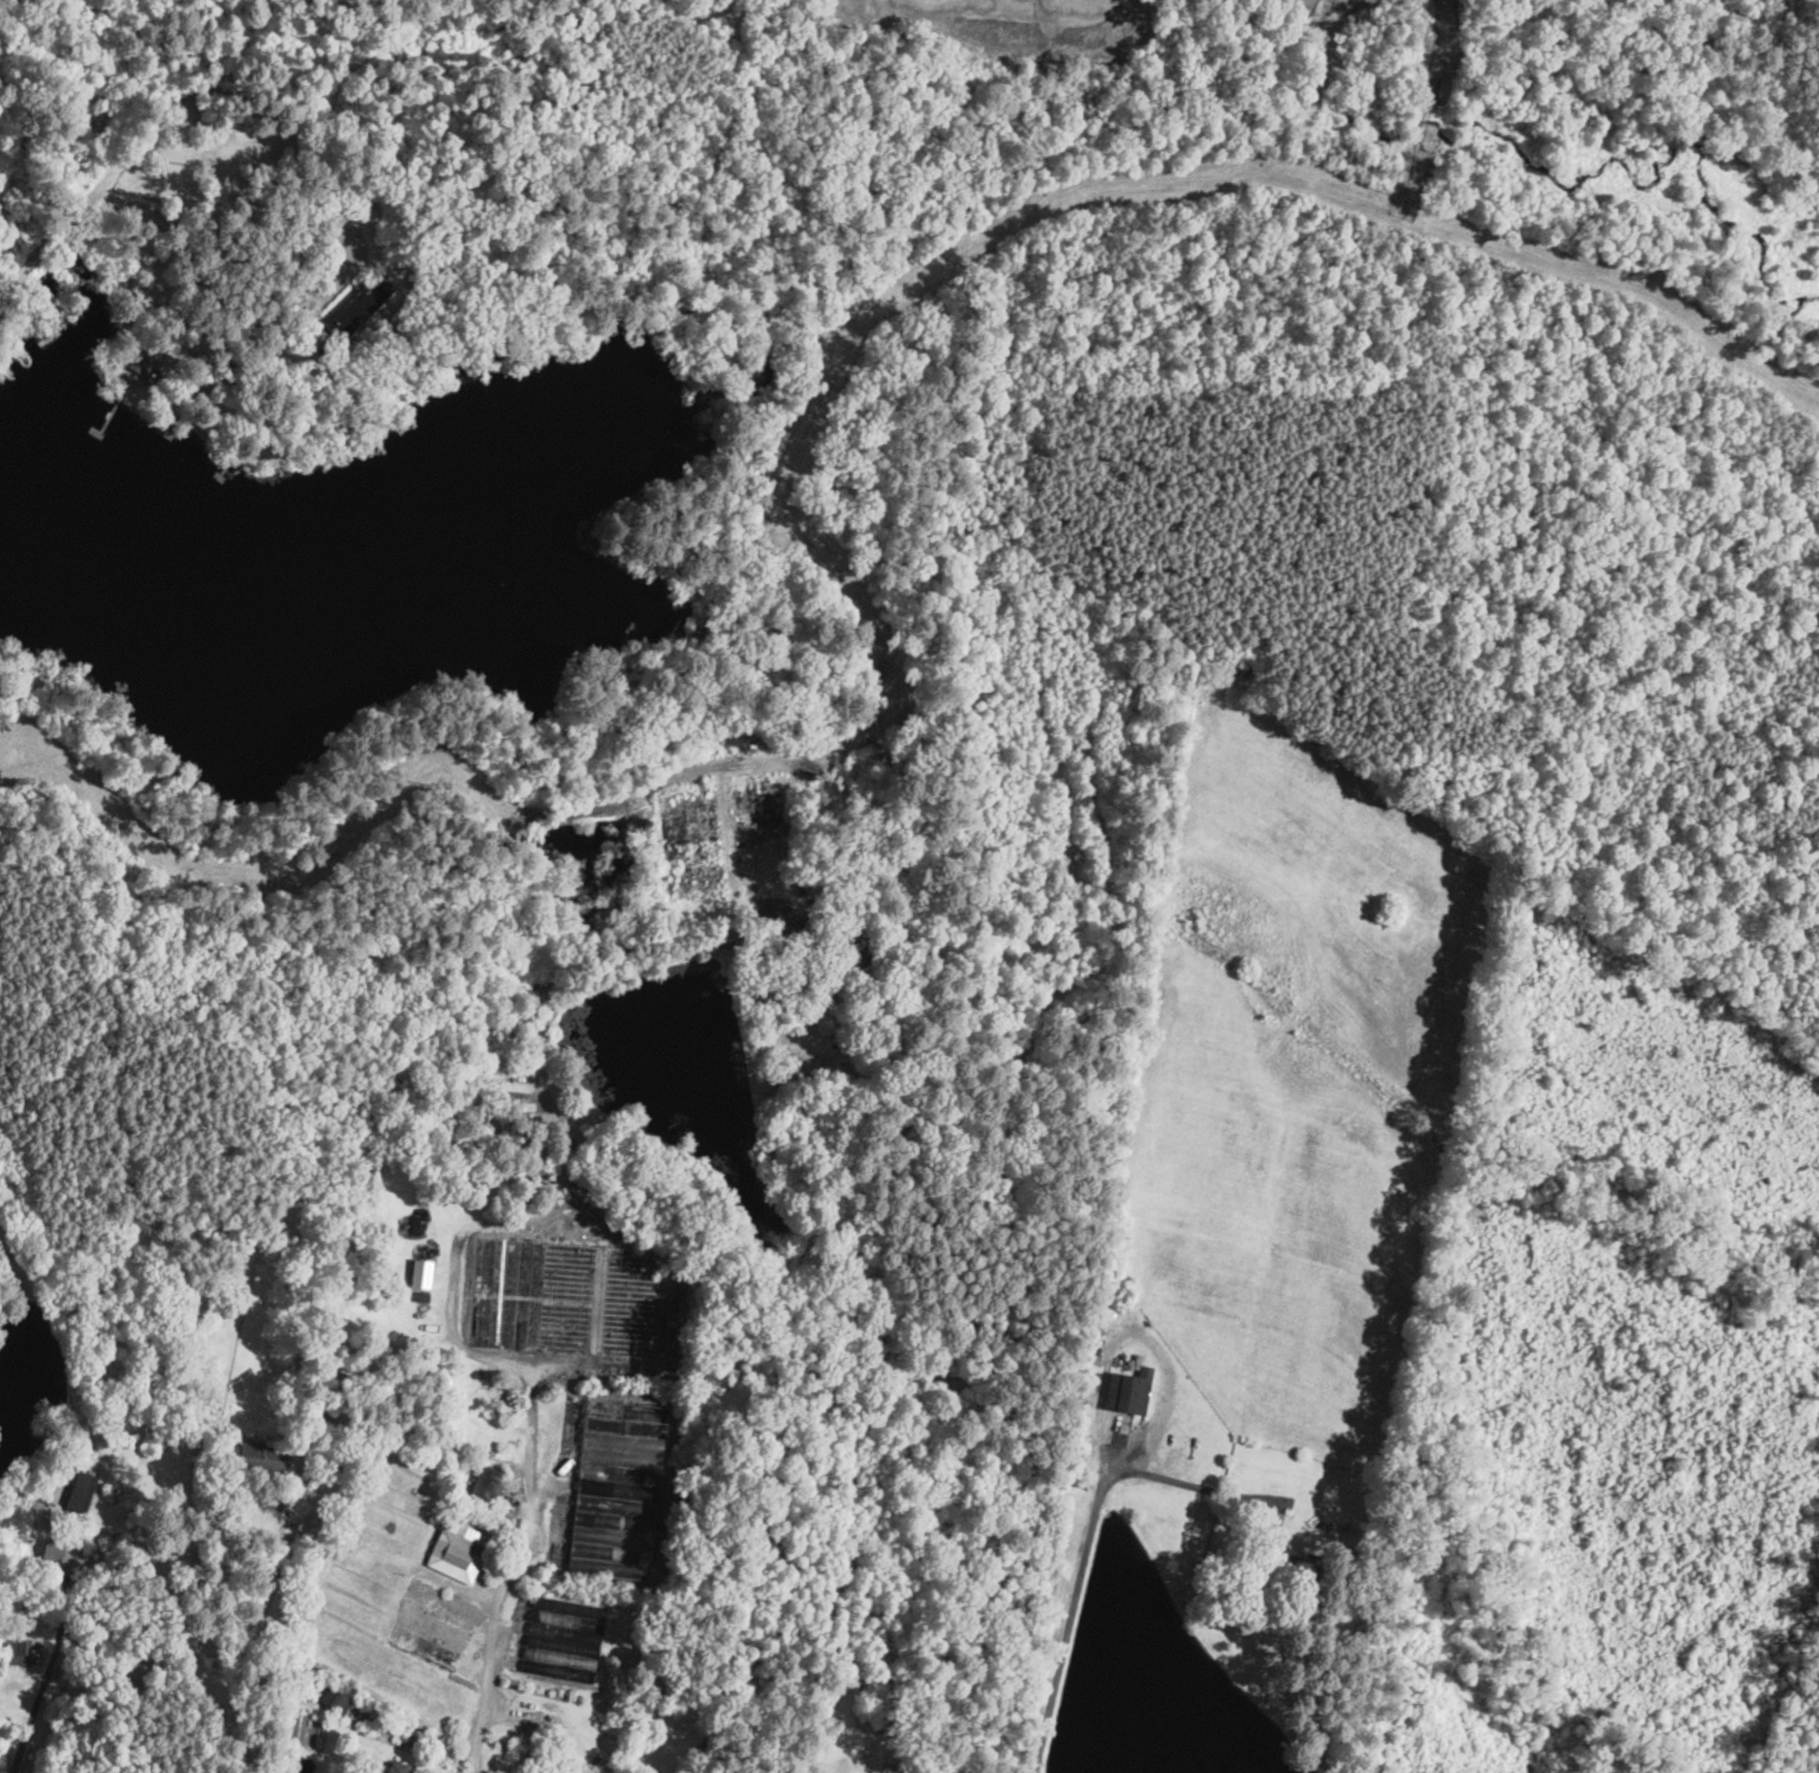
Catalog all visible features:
road: (183, 96)
building: (405, 244)
building: (415, 261)
building: (418, 274)
building: (415, 305)
building: (358, 307)
building: (140, 358)
building: (161, 425)
building: (242, 445)
building: (819, 941)
building: (860, 955)
building: (846, 1009)
building: (494, 1117)
building: (421, 1273)
road: (450, 1290)
building: (422, 1297)
building: (574, 1299)
building: (1094, 1360)
building: (1138, 1361)
building: (1099, 1374)
building: (1093, 1387)
building: (1130, 1391)
building: (312, 1409)
building: (120, 1437)
building: (256, 1457)
road: (1166, 1479)
building: (485, 1482)
building: (617, 1489)
building: (72, 1491)
building: (1315, 1524)
building: (377, 1545)
building: (53, 1548)
building: (458, 1550)
building: (860, 1550)
building: (1283, 1567)
road: (511, 1572)
building: (6, 1621)
building: (433, 1625)
road: (1068, 1629)
building: (562, 1640)
road: (254, 1641)
building: (30, 1652)
road: (52, 1656)
building: (134, 1692)
building: (336, 1701)
building: (896, 1703)
building: (647, 1708)
road: (901, 1760)
building: (397, 1767)

